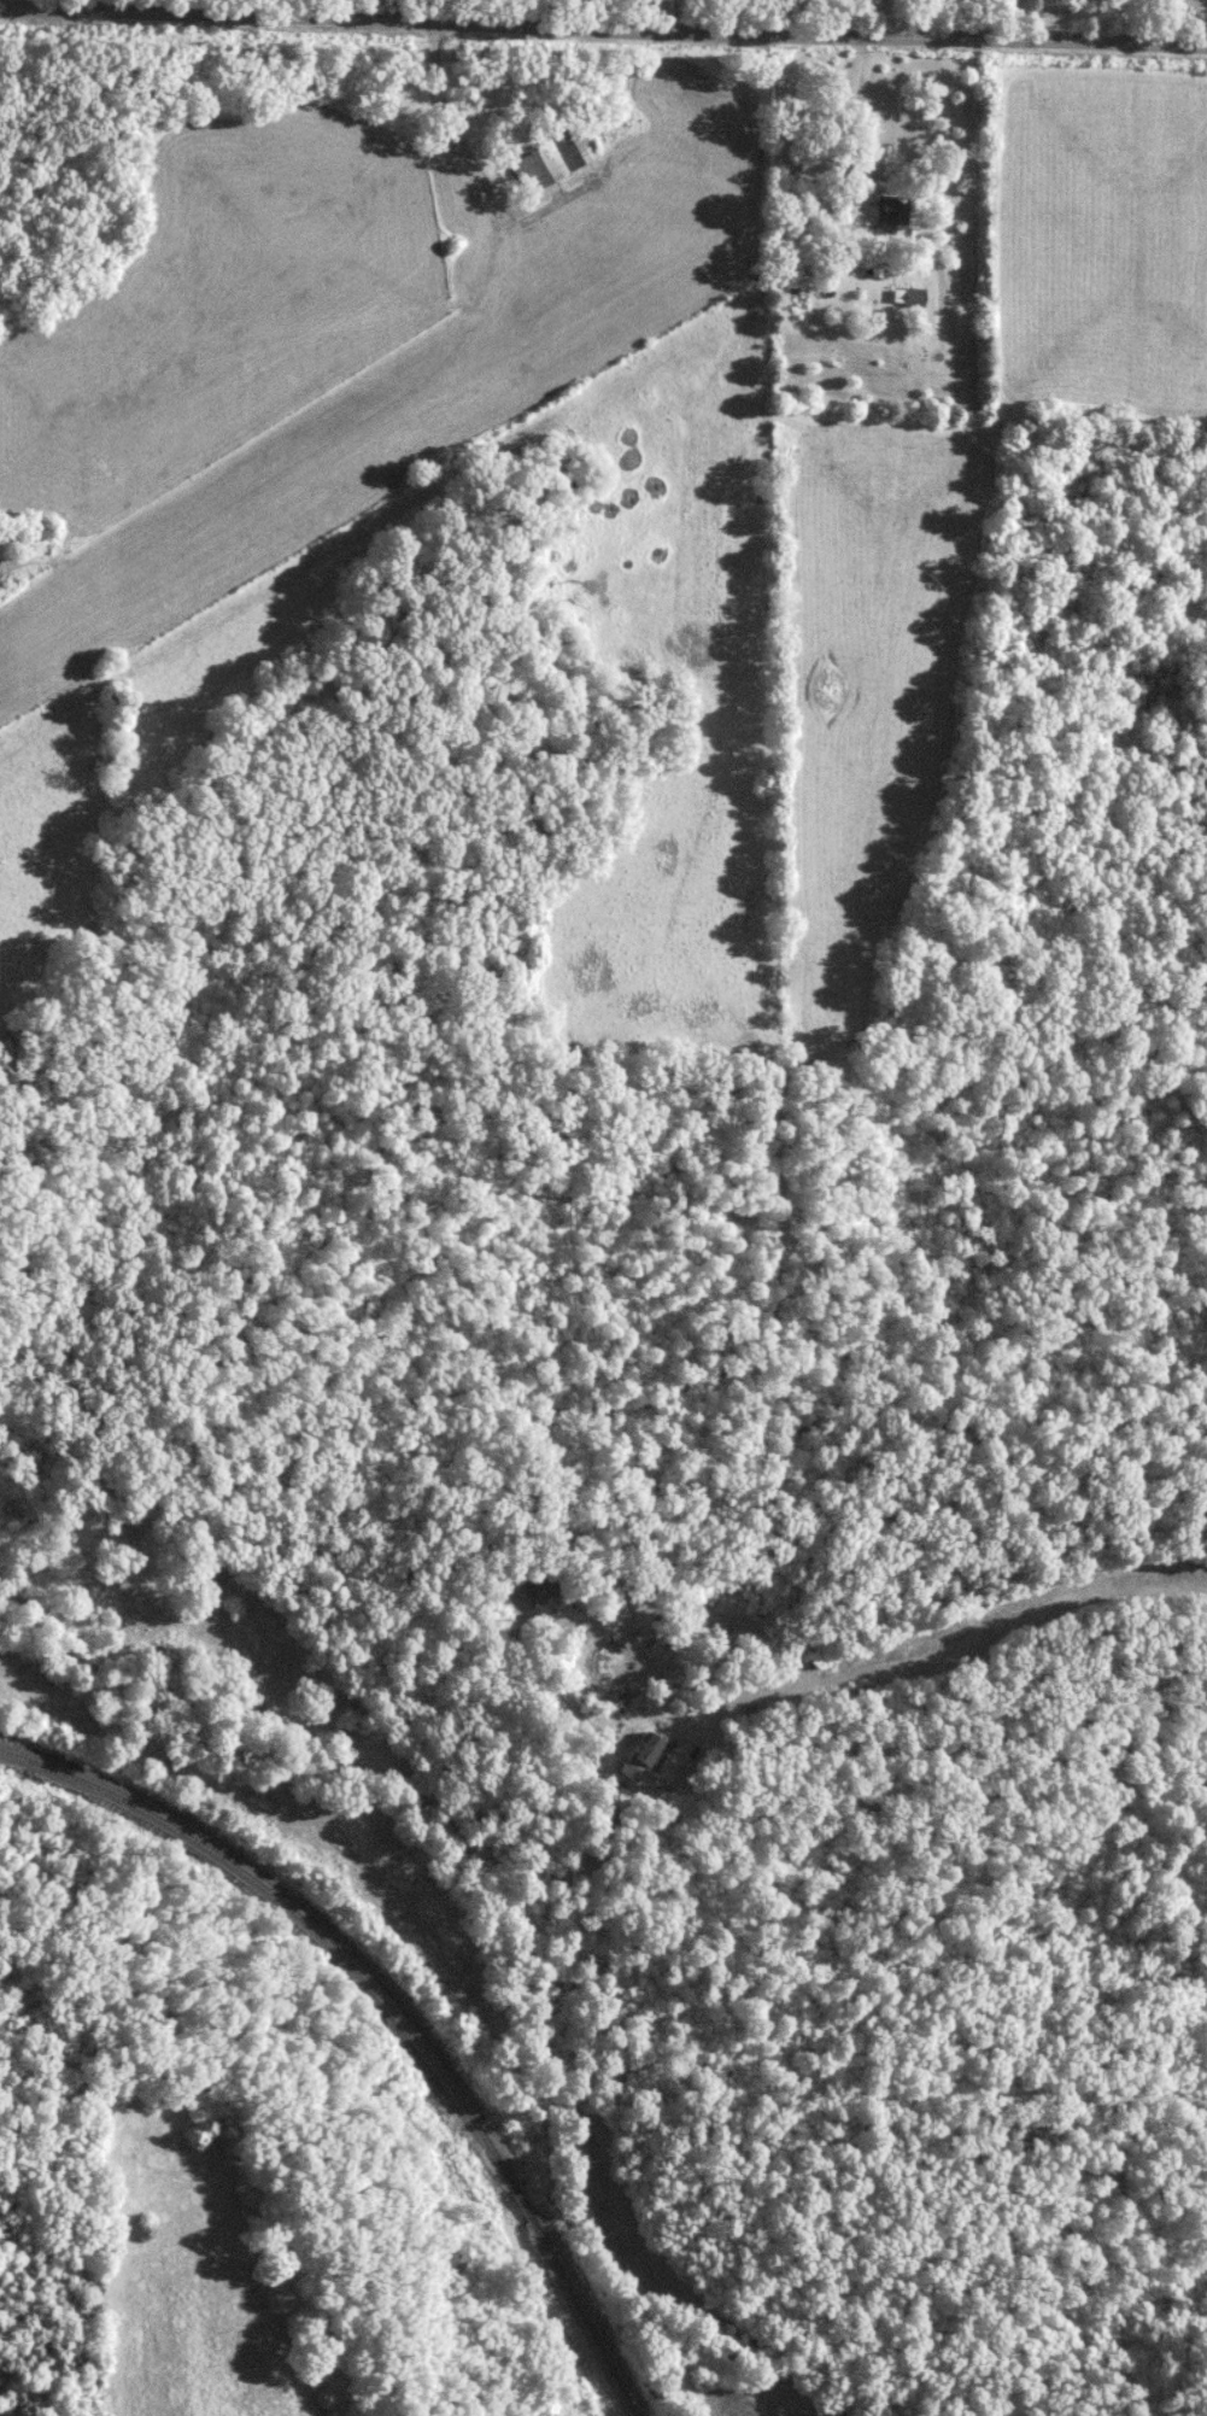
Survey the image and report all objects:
road: (664, 16)
road: (809, 18)
road: (603, 25)
building: (550, 158)
building: (889, 207)
building: (844, 263)
building: (912, 296)
airport runway: (381, 438)
building: (535, 1589)
road: (960, 1741)
building: (635, 1757)
railway: (394, 2007)

